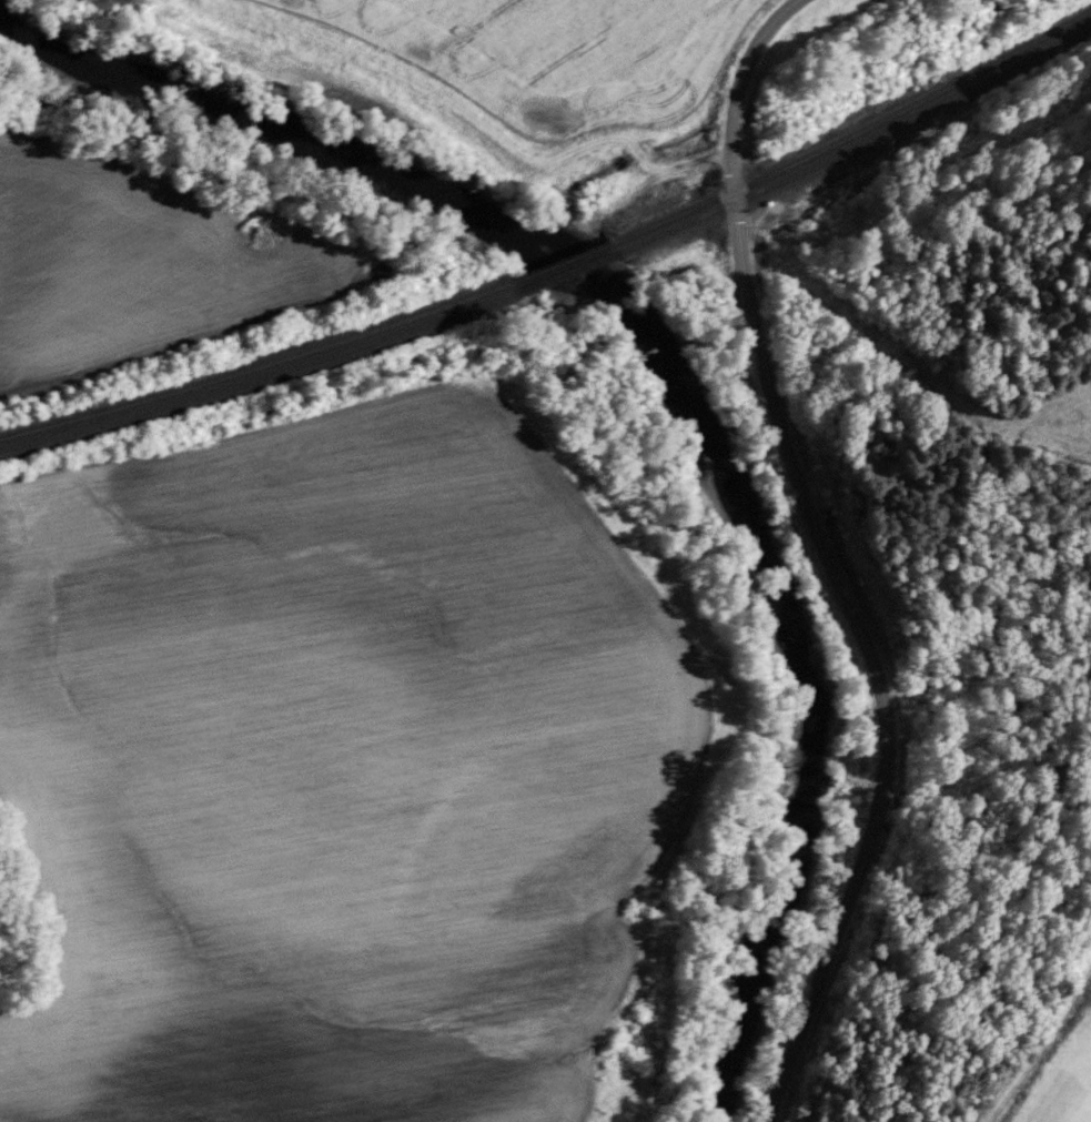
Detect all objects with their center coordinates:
railway: (855, 133)
railway: (858, 146)
railway: (555, 265)
railway: (563, 275)
railway: (251, 371)
railway: (256, 382)
road: (825, 558)

